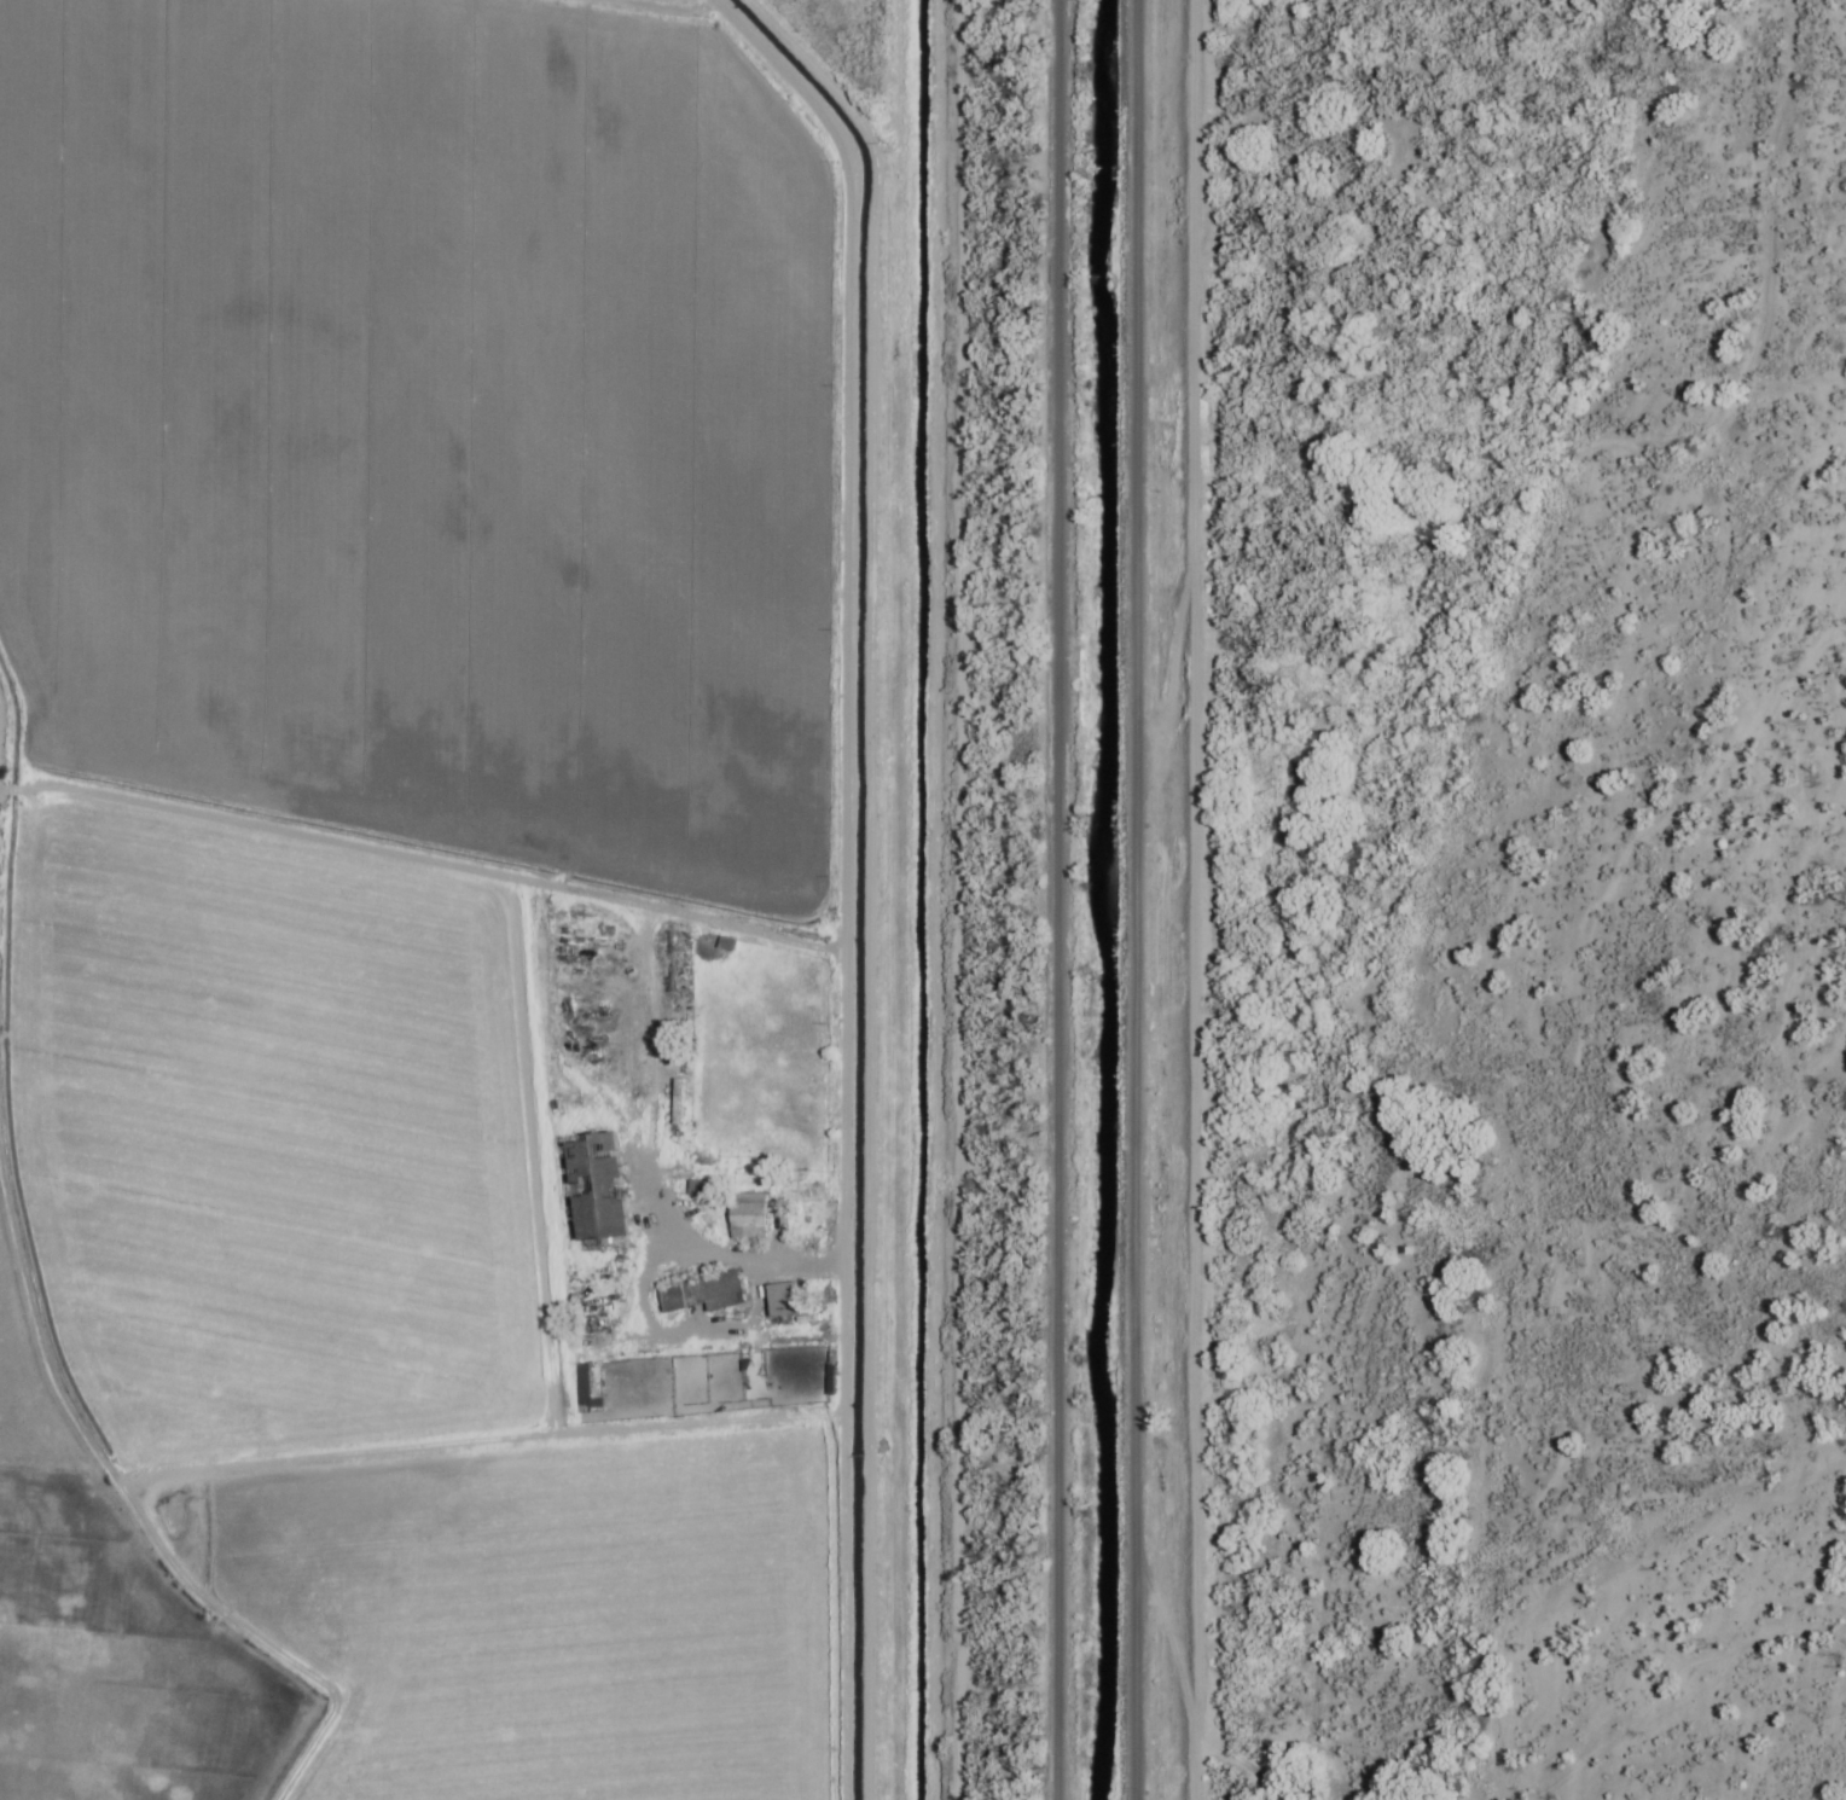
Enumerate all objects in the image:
road: (832, 875)
road: (1060, 900)
road: (1190, 900)
building: (596, 1189)
building: (747, 1217)
building: (702, 1295)
building: (782, 1300)
building: (588, 1389)

